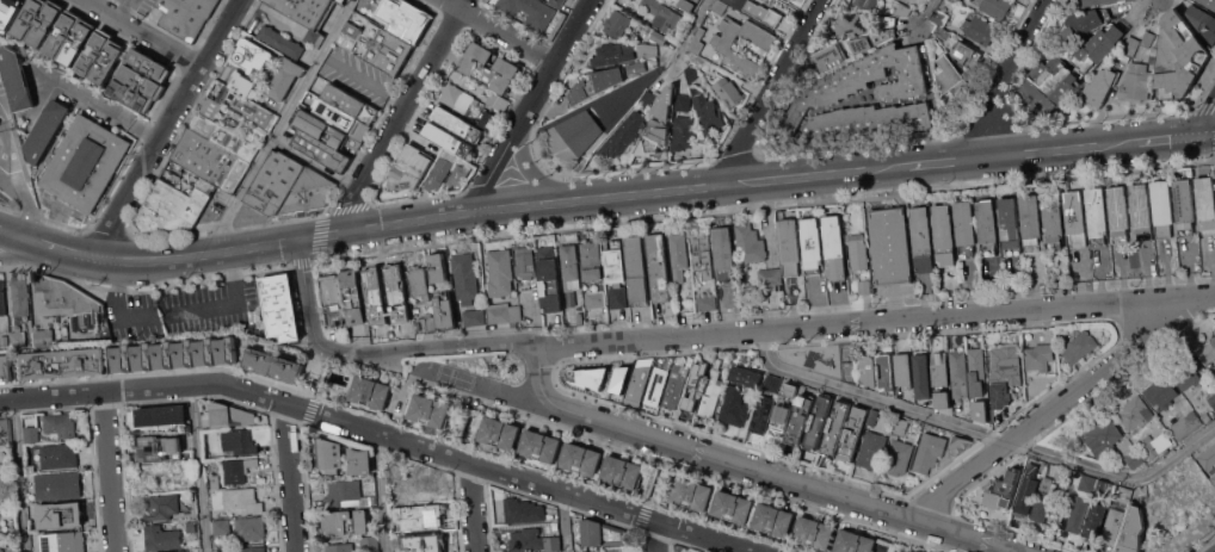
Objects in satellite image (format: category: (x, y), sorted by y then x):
building: (956, 0)
building: (340, 1)
building: (557, 2)
building: (865, 2)
building: (1094, 2)
building: (1209, 2)
building: (689, 4)
building: (720, 6)
building: (997, 7)
road: (1153, 7)
road: (122, 8)
building: (307, 10)
building: (757, 10)
building: (902, 10)
building: (8, 11)
building: (531, 11)
road: (925, 12)
building: (659, 14)
building: (185, 15)
building: (939, 17)
building: (31, 18)
building: (395, 19)
building: (886, 20)
building: (1203, 21)
building: (47, 23)
building: (1084, 23)
building: (617, 24)
building: (851, 24)
road: (693, 29)
building: (980, 29)
road: (500, 30)
building: (943, 31)
building: (64, 33)
road: (143, 33)
building: (886, 35)
building: (351, 36)
building: (314, 37)
building: (659, 37)
building: (1148, 39)
building: (78, 41)
building: (280, 41)
building: (697, 42)
building: (861, 44)
building: (1131, 45)
building: (387, 48)
building: (1098, 48)
building: (724, 49)
building: (647, 50)
building: (95, 52)
building: (253, 54)
building: (613, 54)
building: (967, 55)
building: (829, 57)
building: (1178, 57)
building: (701, 61)
building: (107, 62)
building: (149, 63)
building: (475, 67)
building: (636, 67)
road: (1001, 72)
building: (692, 73)
building: (1, 74)
building: (949, 75)
building: (17, 77)
building: (285, 77)
building: (141, 81)
building: (863, 81)
building: (1136, 82)
building: (596, 83)
building: (1050, 83)
building: (243, 85)
building: (1099, 86)
road: (771, 89)
building: (728, 92)
building: (131, 95)
building: (457, 97)
building: (652, 100)
building: (499, 101)
building: (350, 103)
building: (666, 103)
building: (684, 103)
road: (528, 104)
building: (247, 106)
road: (103, 107)
building: (211, 107)
road: (401, 112)
building: (707, 112)
road: (1203, 116)
building: (344, 119)
building: (489, 120)
building: (869, 120)
building: (458, 123)
road: (280, 124)
road: (168, 128)
building: (322, 129)
building: (47, 130)
building: (684, 132)
road: (4, 135)
building: (574, 135)
road: (1204, 135)
building: (622, 136)
traffic signals: (1194, 136)
building: (224, 137)
building: (654, 137)
road: (1166, 138)
building: (449, 139)
building: (321, 149)
road: (1067, 149)
building: (211, 160)
road: (952, 161)
building: (86, 162)
building: (409, 167)
building: (440, 169)
building: (458, 175)
building: (276, 182)
building: (309, 193)
road: (27, 200)
building: (1205, 201)
building: (172, 205)
building: (1184, 206)
road: (504, 207)
building: (1162, 207)
building: (1141, 210)
building: (1118, 212)
building: (1097, 213)
building: (1075, 217)
building: (1053, 219)
building: (1031, 221)
building: (1010, 224)
building: (987, 227)
building: (966, 228)
road: (18, 234)
building: (944, 234)
building: (923, 240)
building: (750, 244)
building: (812, 244)
building: (790, 246)
building: (892, 246)
building: (834, 247)
road: (68, 250)
road: (19, 252)
building: (858, 252)
building: (724, 254)
building: (703, 255)
building: (678, 256)
building: (592, 260)
building: (525, 262)
building: (438, 266)
building: (659, 268)
building: (636, 269)
building: (500, 273)
building: (616, 273)
building: (572, 274)
building: (773, 275)
building: (465, 278)
building: (549, 280)
building: (419, 281)
building: (864, 286)
building: (63, 297)
building: (353, 297)
building: (2, 298)
building: (596, 299)
building: (332, 300)
building: (707, 302)
building: (280, 308)
building: (445, 309)
road: (177, 310)
building: (19, 311)
parking lot: (186, 311)
building: (504, 312)
building: (474, 317)
building: (431, 323)
building: (418, 325)
road: (711, 334)
building: (44, 337)
building: (1080, 346)
building: (1207, 351)
building: (173, 355)
building: (1038, 359)
building: (63, 364)
building: (1006, 364)
building: (273, 365)
building: (6, 368)
building: (939, 368)
building: (866, 370)
building: (903, 370)
building: (976, 371)
building: (1188, 371)
building: (886, 372)
building: (958, 372)
building: (921, 373)
road: (321, 374)
building: (745, 376)
building: (659, 379)
building: (602, 380)
building: (639, 380)
building: (676, 383)
building: (695, 384)
road: (486, 386)
building: (1161, 392)
building: (371, 393)
building: (711, 393)
road: (872, 396)
building: (999, 397)
building: (942, 398)
building: (1211, 399)
building: (766, 403)
building: (734, 405)
building: (784, 407)
road: (1054, 407)
building: (980, 410)
road: (309, 411)
building: (430, 413)
building: (1135, 413)
building: (160, 415)
building: (230, 415)
building: (874, 416)
building: (800, 418)
building: (819, 422)
building: (918, 424)
building: (1186, 424)
building: (60, 426)
building: (900, 426)
building: (835, 427)
building: (930, 427)
road: (382, 432)
building: (4, 433)
building: (499, 433)
building: (852, 434)
building: (31, 435)
building: (1102, 438)
building: (239, 442)
building: (960, 442)
building: (1155, 444)
building: (539, 446)
building: (160, 448)
building: (871, 449)
building: (927, 452)
building: (331, 455)
building: (58, 457)
building: (898, 457)
building: (1208, 457)
building: (1134, 458)
building: (580, 459)
road: (1172, 459)
road: (1067, 460)
building: (359, 461)
road: (198, 467)
road: (747, 469)
building: (31, 470)
road: (109, 471)
building: (236, 471)
building: (622, 472)
road: (19, 475)
road: (289, 477)
building: (1214, 477)
building: (4, 480)
road: (655, 480)
building: (428, 483)
building: (1087, 483)
building: (58, 485)
building: (1105, 488)
building: (1003, 489)
building: (1026, 490)
building: (212, 491)
road: (380, 491)
building: (345, 494)
building: (399, 494)
building: (691, 495)
building: (1127, 496)
building: (242, 500)
building: (1043, 500)
road: (471, 507)
building: (161, 508)
building: (733, 508)
building: (522, 511)
building: (1077, 513)
building: (60, 515)
building: (419, 517)
building: (773, 520)
building: (1096, 520)
road: (562, 521)
building: (346, 522)
building: (1112, 525)
building: (191, 526)
building: (555, 526)
building: (222, 527)
building: (251, 527)
building: (1133, 529)
building: (602, 533)
building: (814, 533)
road: (655, 537)
building: (161, 539)
building: (526, 540)
road: (1199, 540)
building: (853, 541)
building: (63, 542)
building: (424, 542)
building: (553, 542)
building: (2, 544)
building: (339, 547)
building: (248, 548)
building: (587, 551)
building: (617, 551)
building: (912, 551)

